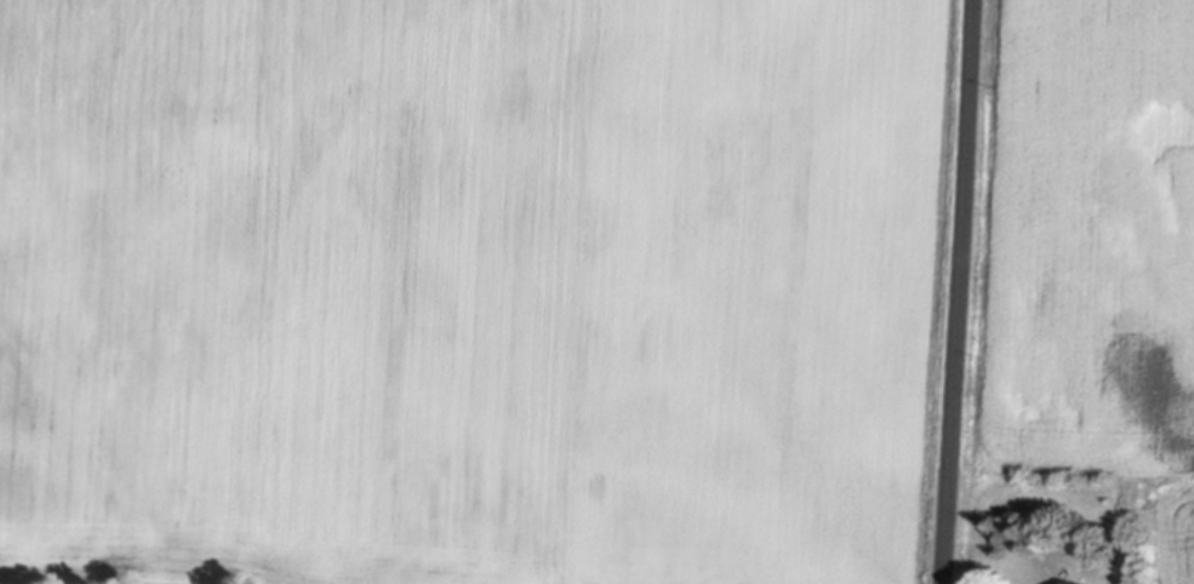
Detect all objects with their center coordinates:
road: (956, 292)
building: (1068, 582)
road: (944, 583)

